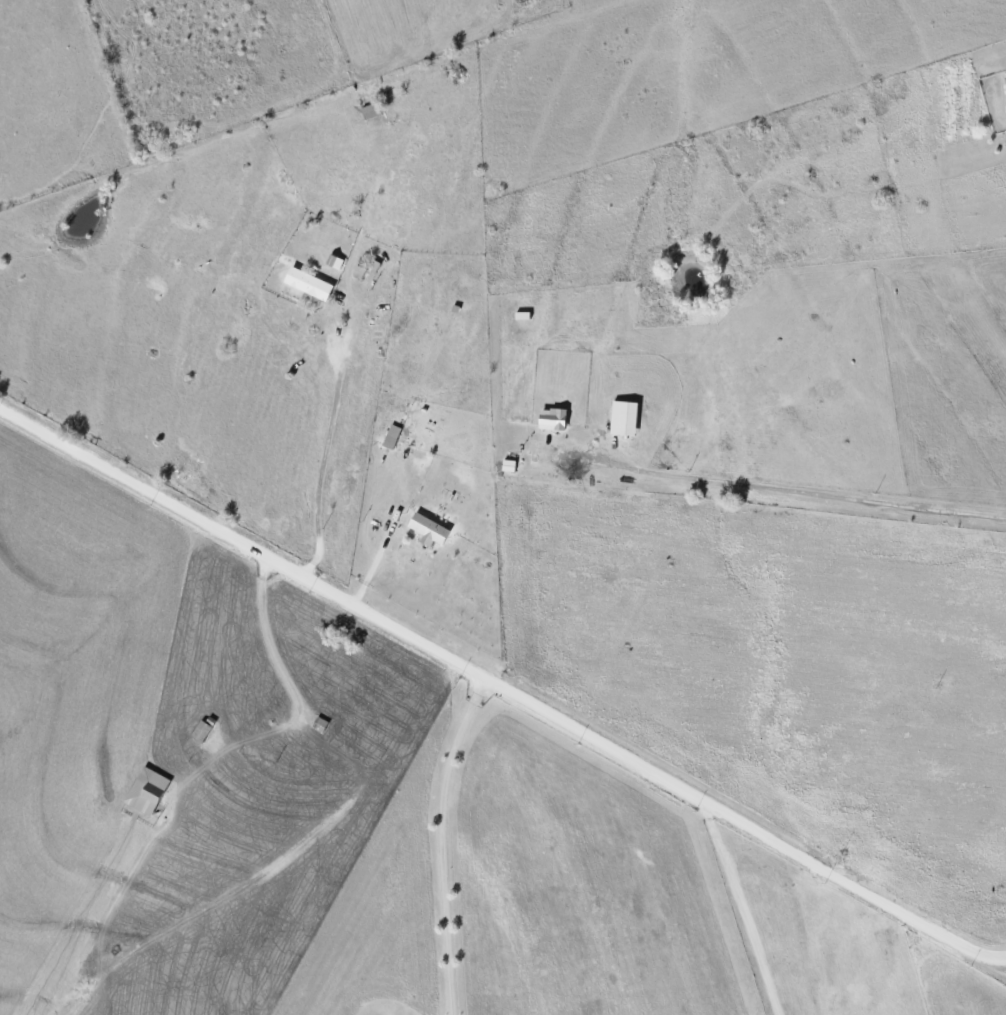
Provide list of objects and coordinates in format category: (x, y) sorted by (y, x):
building: (1005, 78)
building: (370, 111)
building: (308, 283)
building: (552, 419)
building: (391, 436)
road: (323, 456)
road: (784, 499)
building: (428, 530)
road: (265, 628)
road: (496, 683)
building: (147, 791)
road: (446, 842)
road: (1000, 956)

